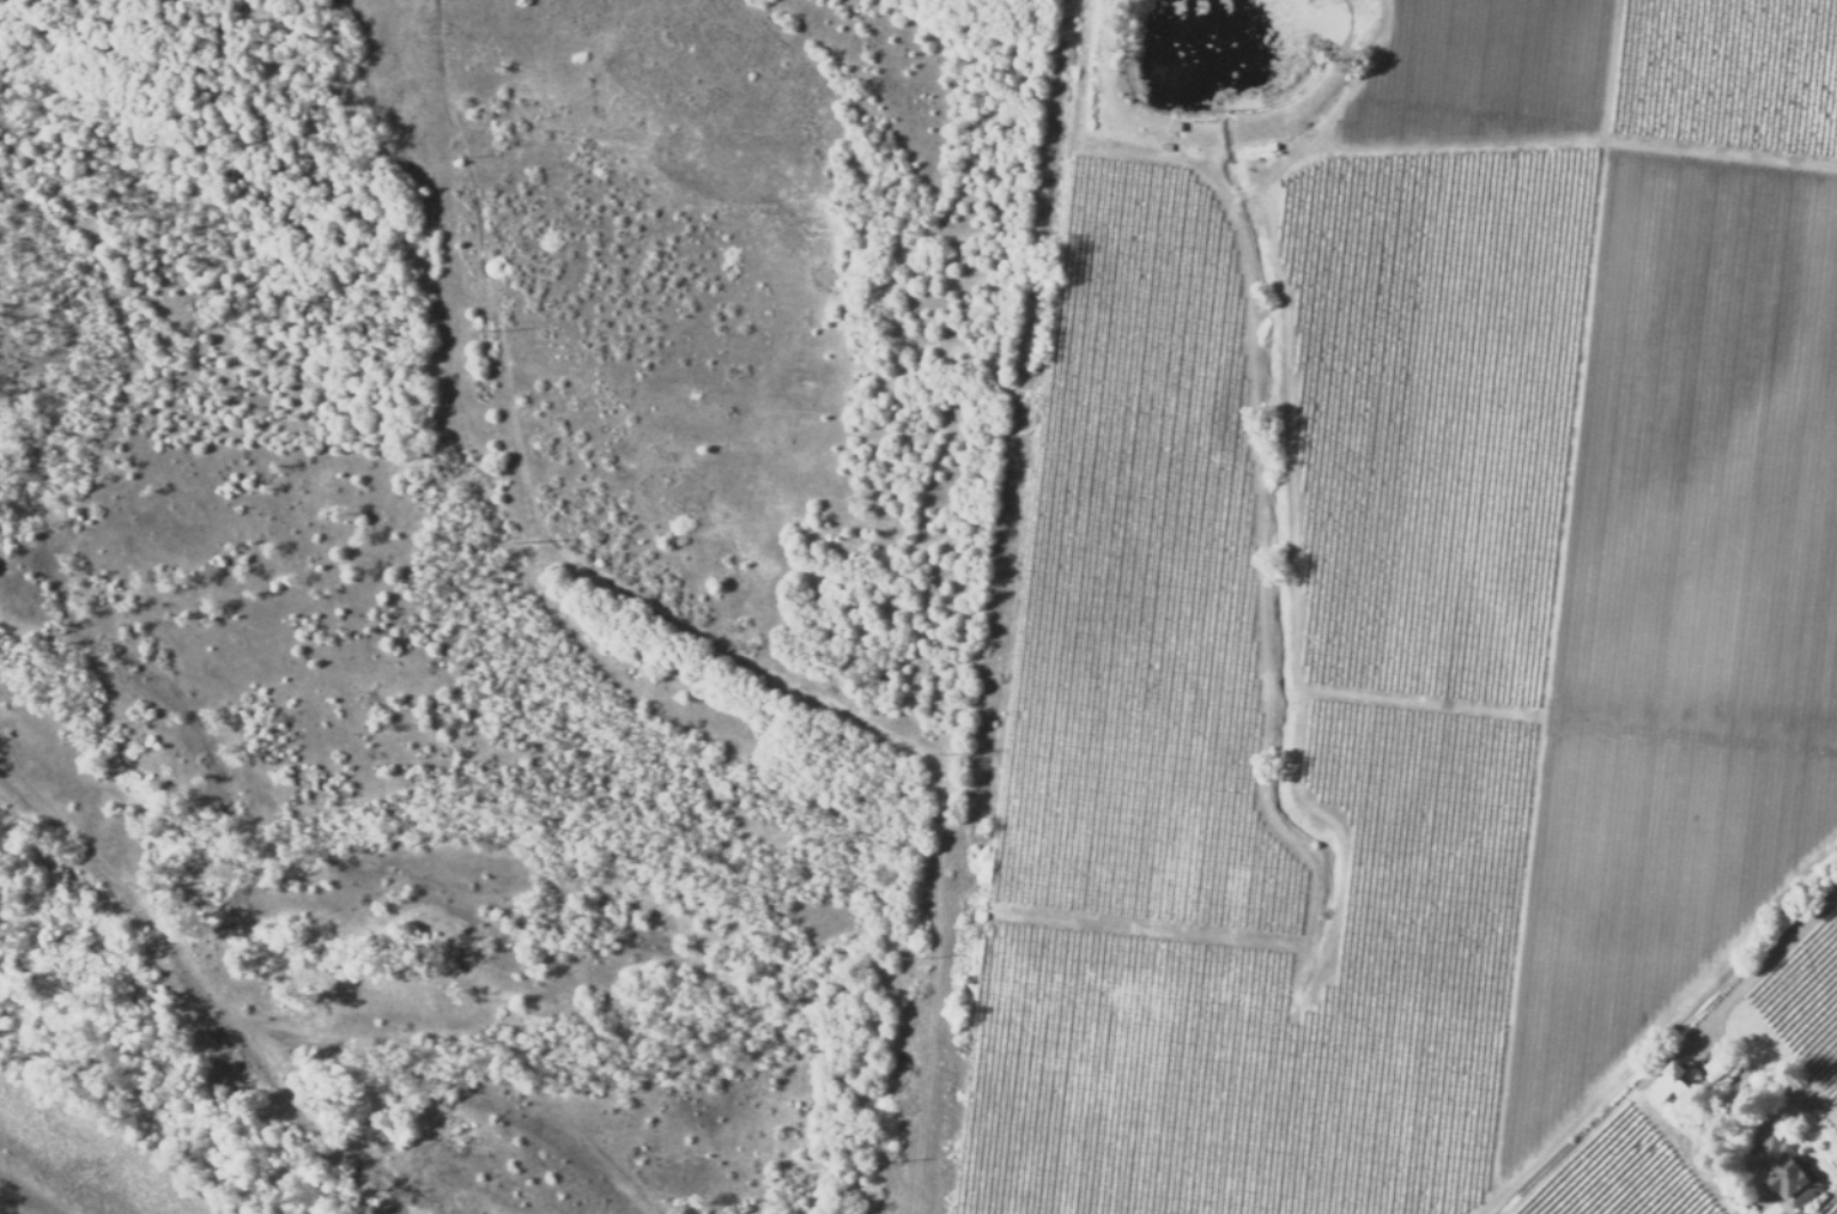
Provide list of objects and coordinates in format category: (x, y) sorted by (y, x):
road: (1560, 138)
road: (1551, 603)
road: (701, 629)
building: (1716, 1072)
building: (1673, 1082)
building: (1784, 1170)

